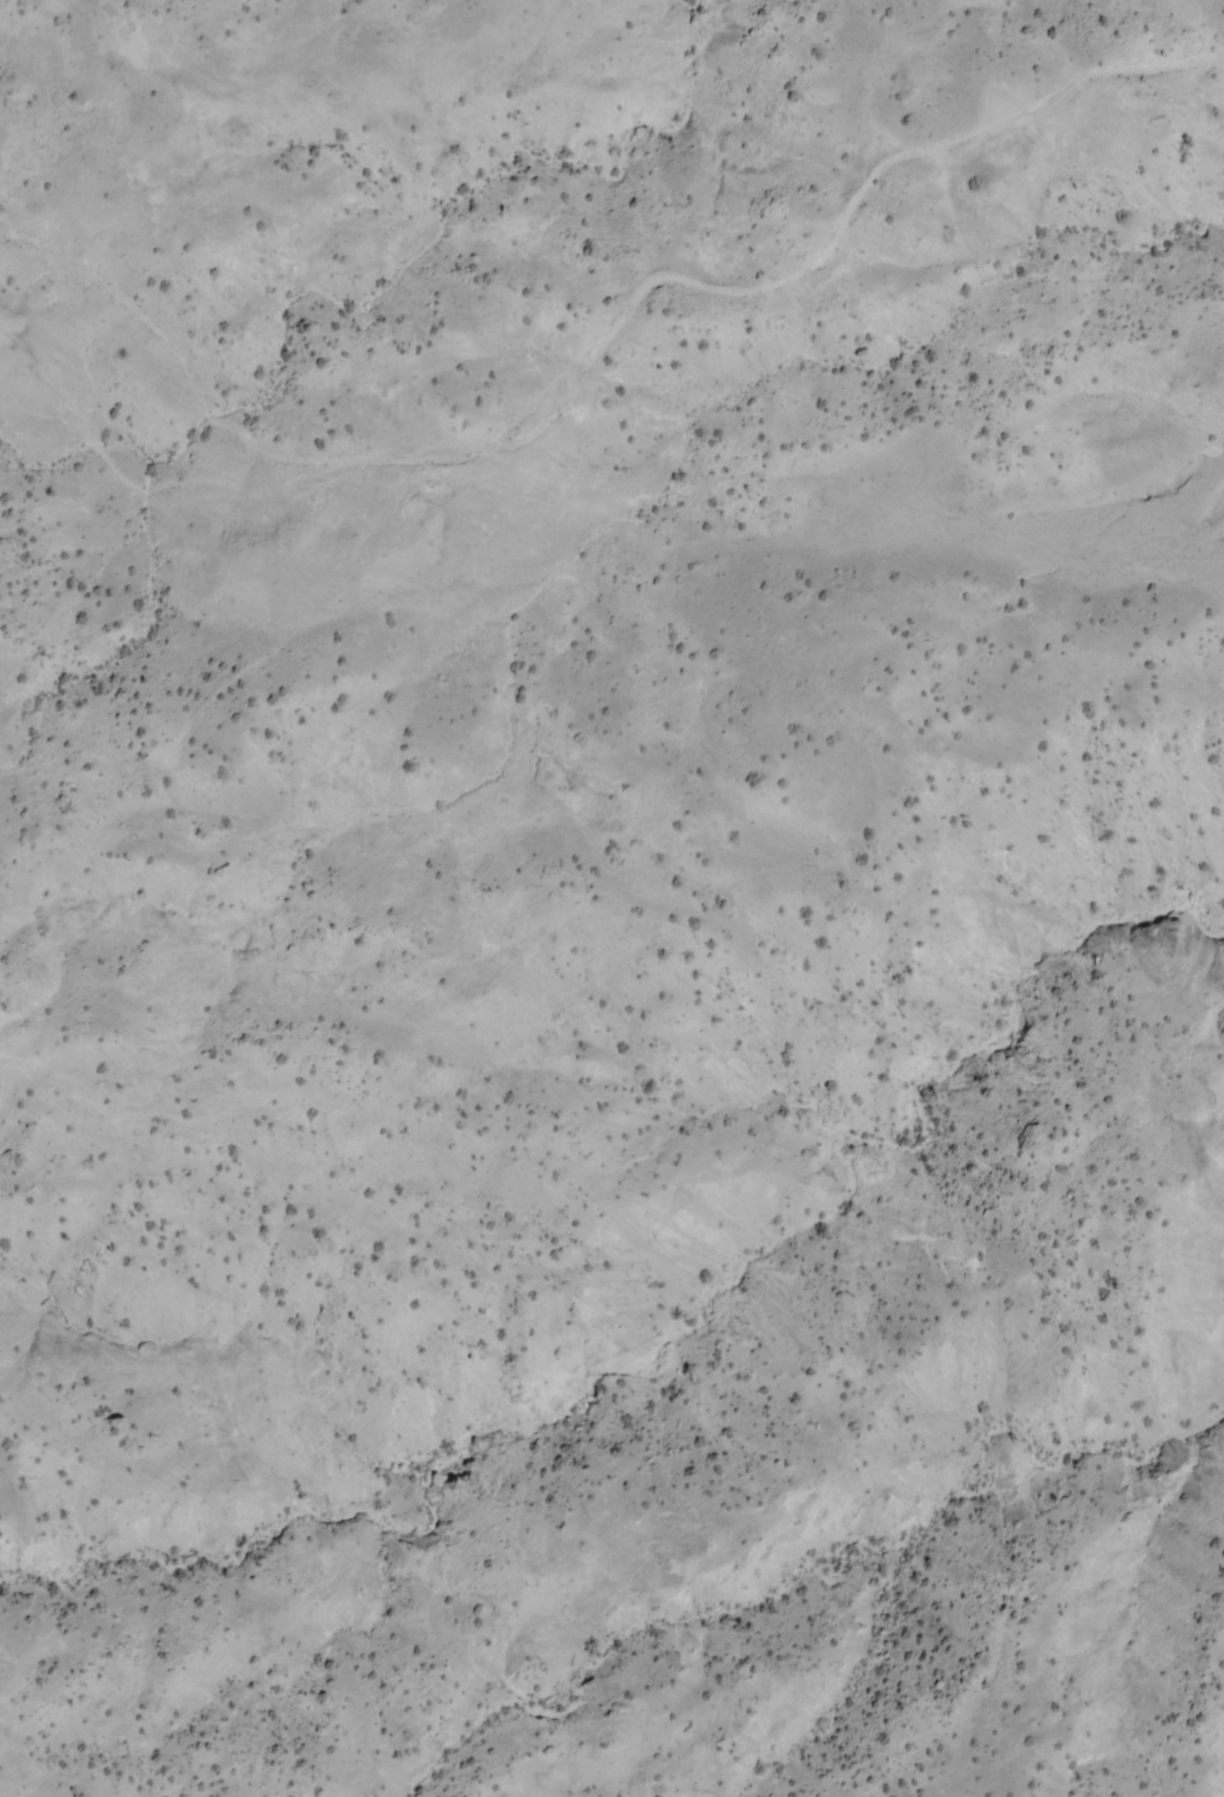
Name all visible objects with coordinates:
road: (611, 360)

